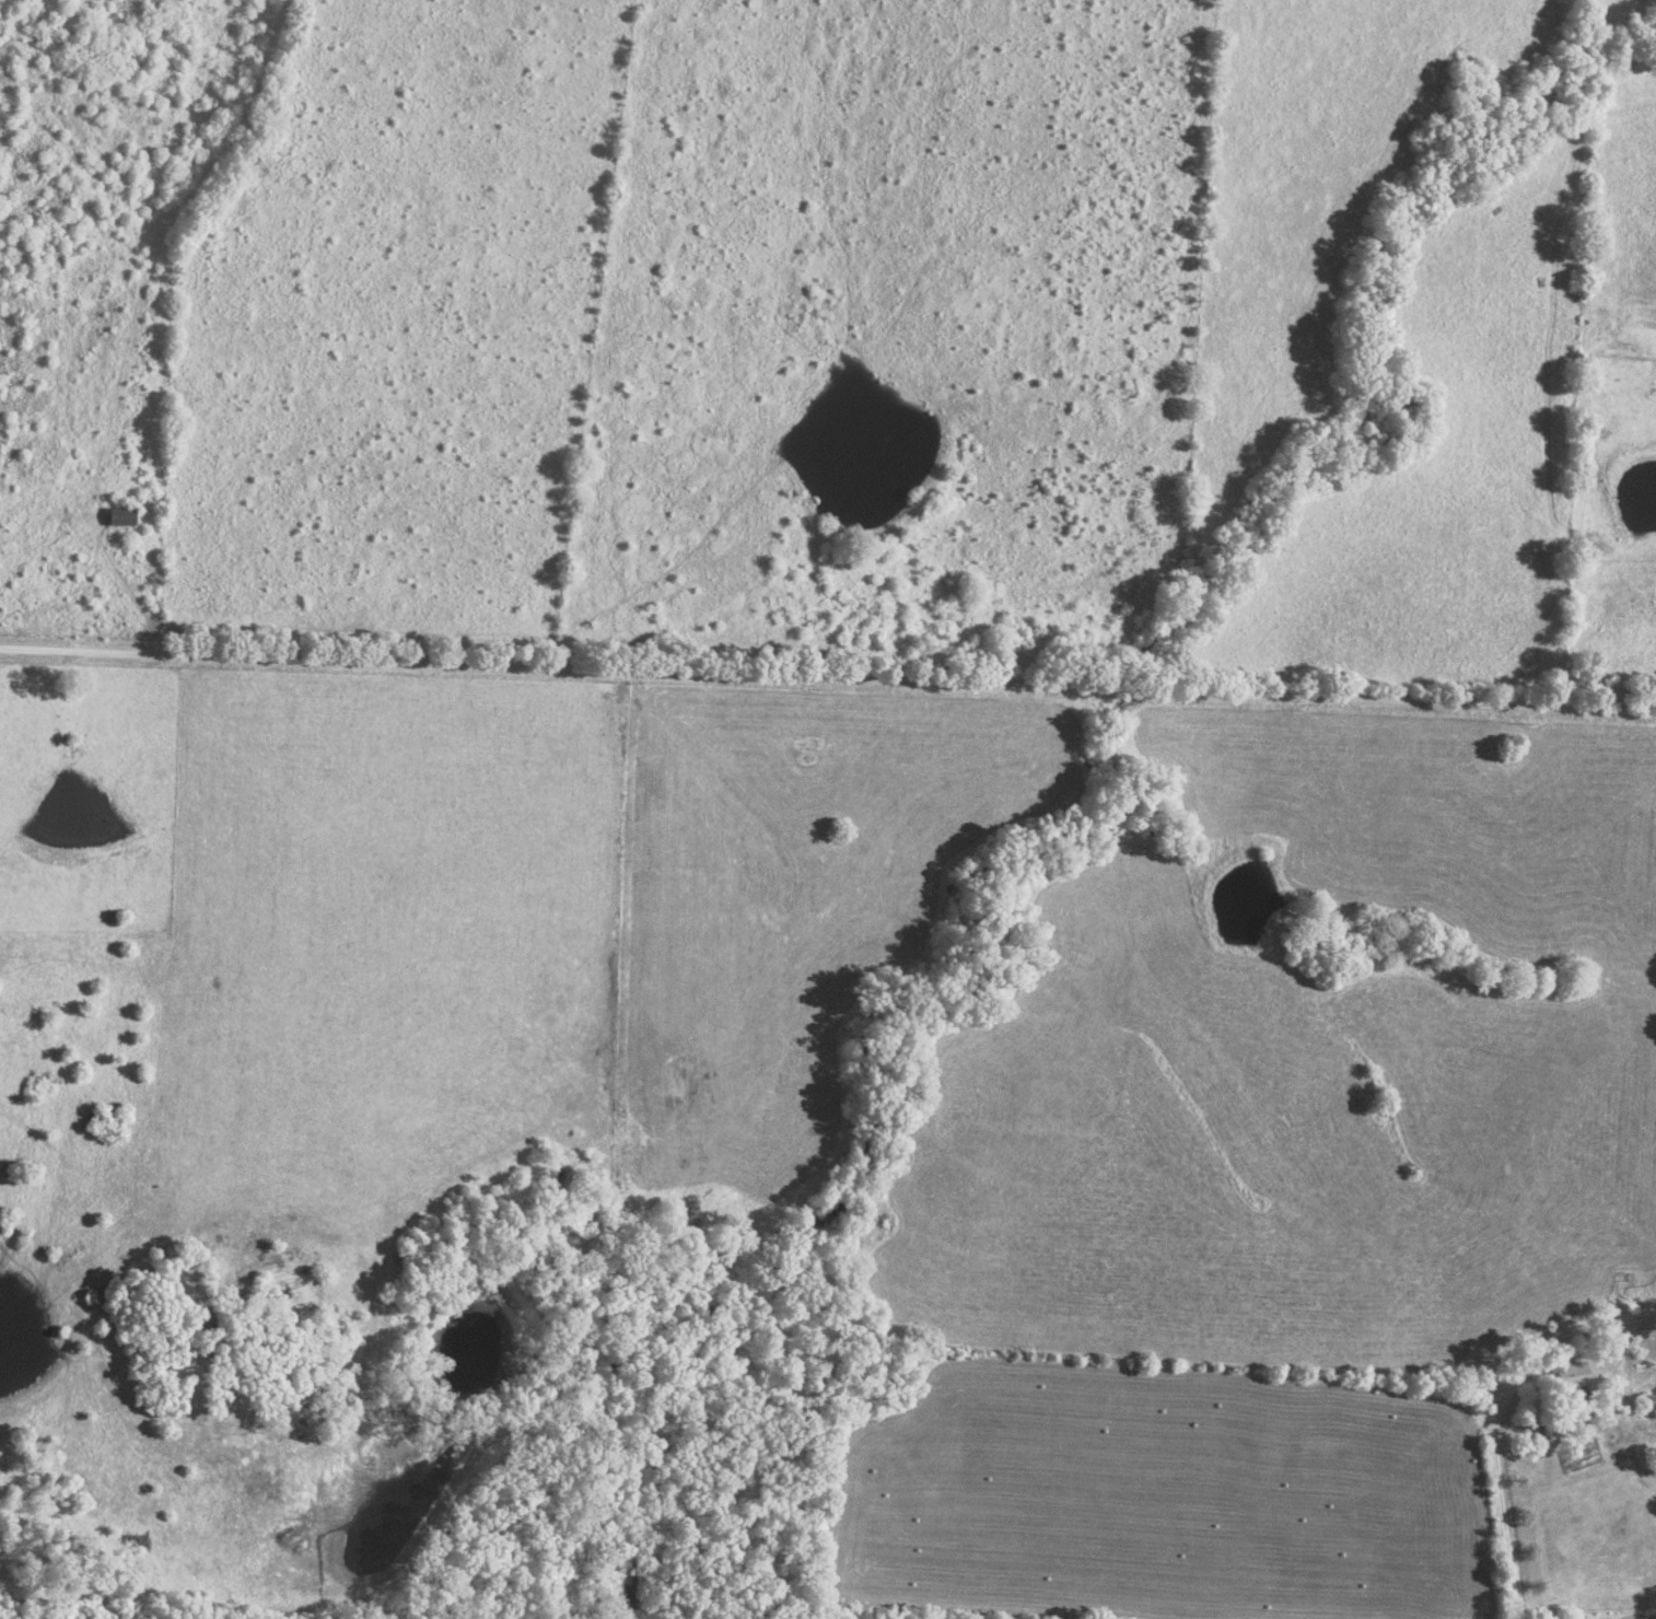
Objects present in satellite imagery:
building: (123, 516)
road: (827, 683)
building: (1570, 1376)
road: (1488, 1408)

